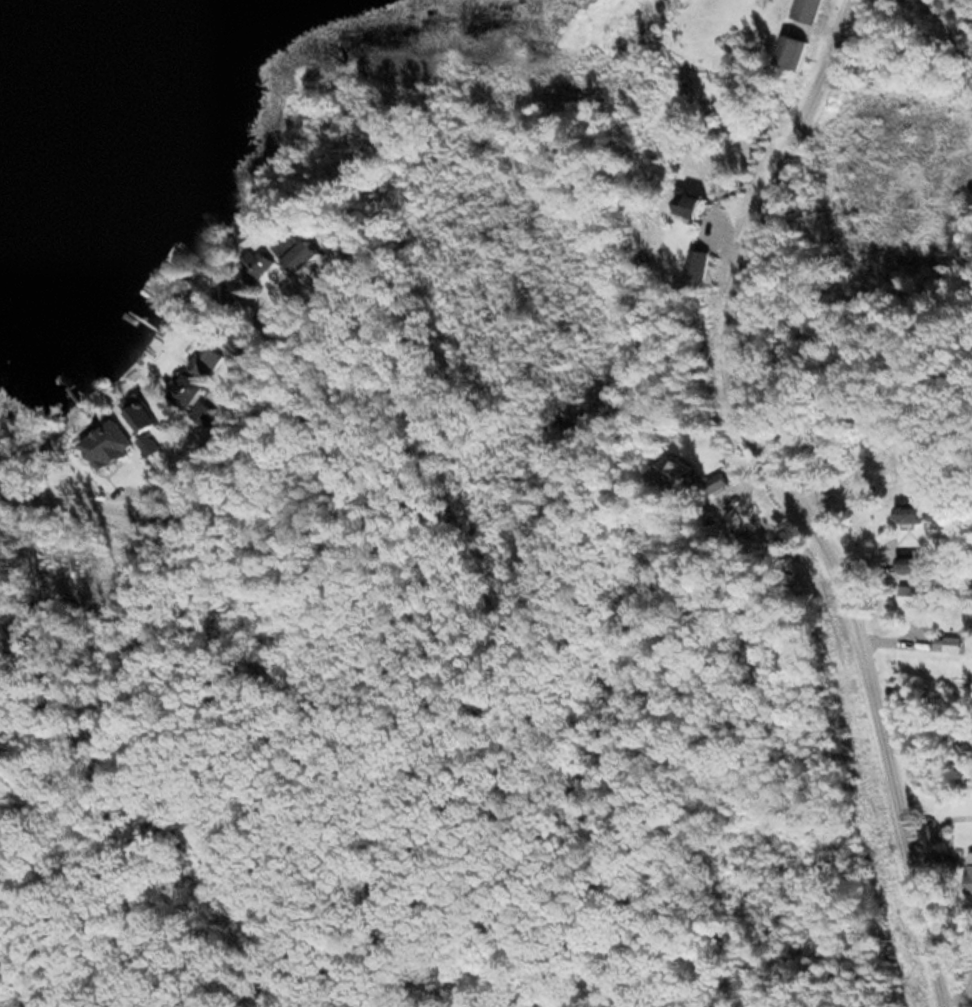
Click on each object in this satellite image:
building: (805, 10)
building: (790, 51)
building: (693, 204)
building: (307, 248)
building: (702, 264)
building: (266, 265)
building: (238, 294)
building: (207, 359)
building: (186, 391)
building: (140, 412)
building: (204, 413)
road: (143, 487)
building: (720, 489)
road: (807, 495)
building: (915, 511)
road: (430, 686)
building: (971, 870)

